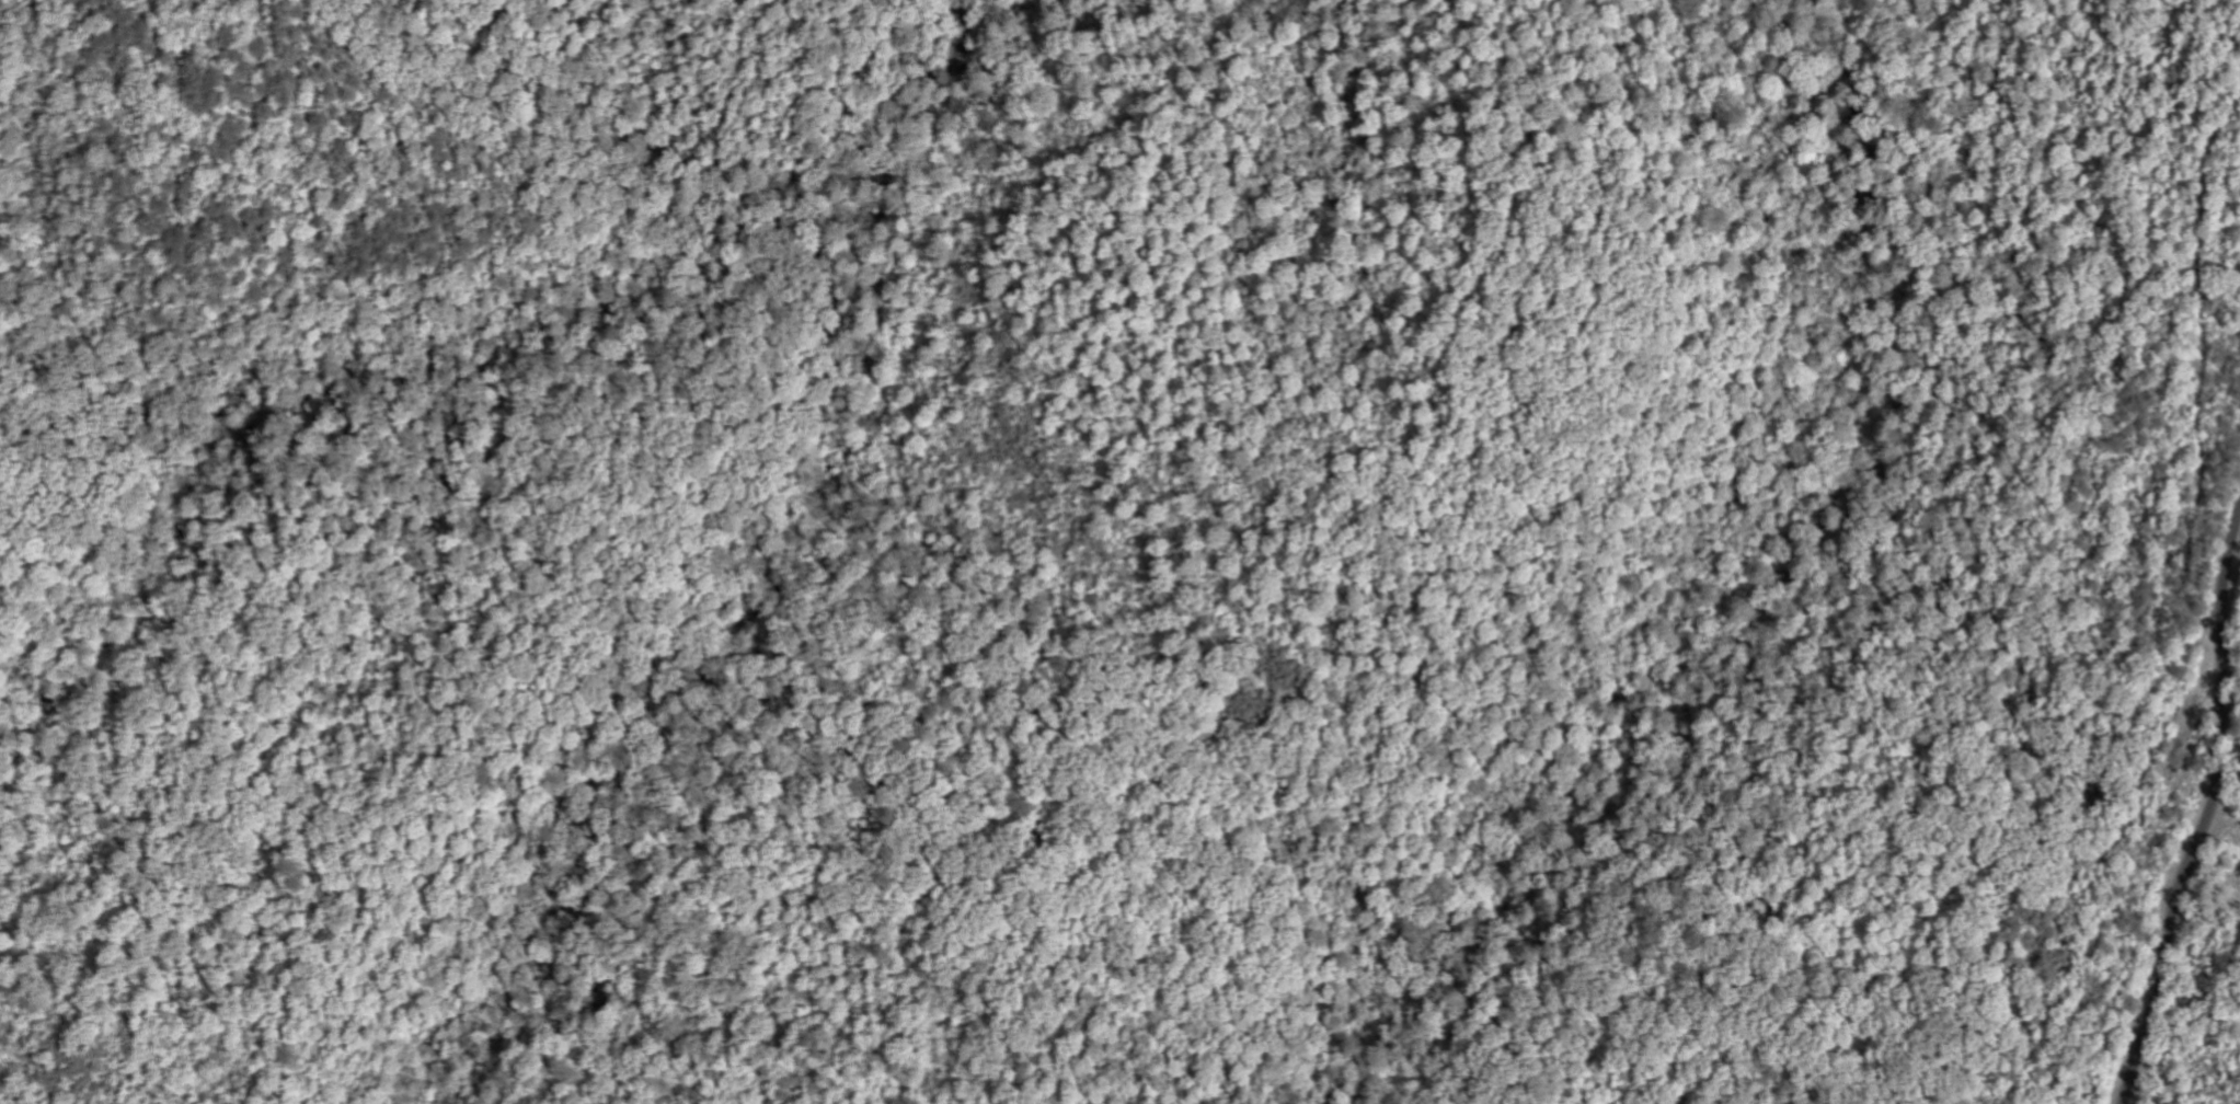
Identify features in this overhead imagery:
road: (2207, 810)

